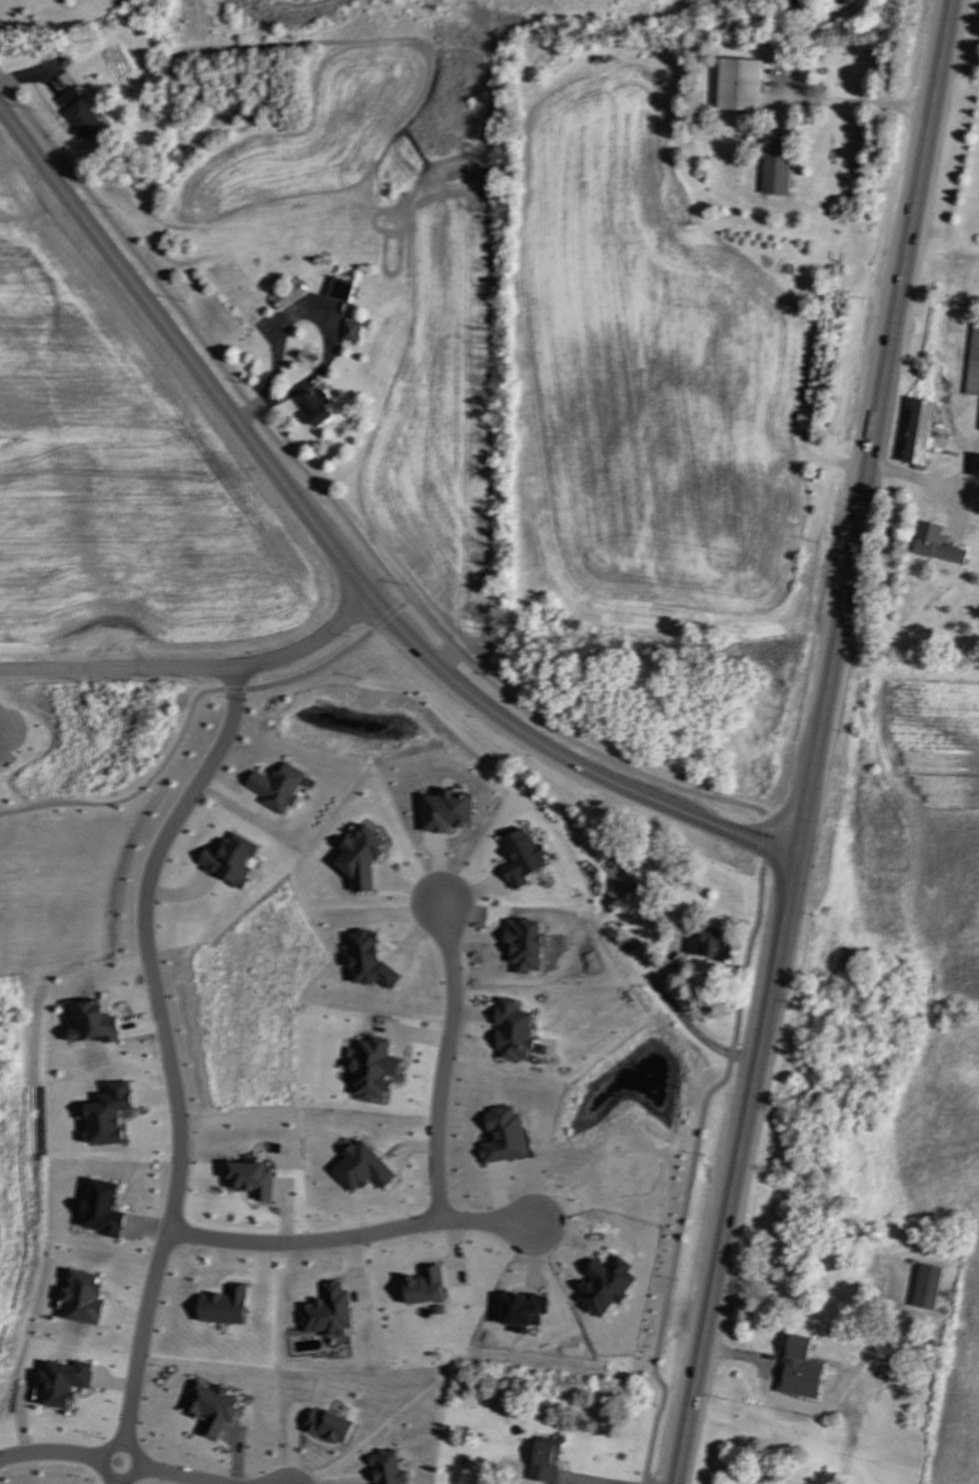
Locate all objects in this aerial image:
building: (845, 2)
building: (739, 85)
road: (856, 107)
building: (83, 119)
crop: (308, 138)
building: (776, 163)
building: (341, 289)
building: (288, 294)
road: (304, 311)
building: (351, 331)
building: (973, 359)
crop: (651, 366)
building: (317, 407)
crop: (440, 409)
building: (920, 433)
building: (976, 466)
road: (947, 488)
road: (964, 498)
building: (937, 544)
road: (336, 558)
road: (195, 667)
road: (20, 731)
road: (817, 742)
road: (582, 745)
building: (278, 788)
building: (448, 811)
crop: (935, 823)
building: (362, 854)
building: (523, 857)
building: (231, 859)
building: (709, 948)
road: (441, 1061)
road: (169, 1068)
crop: (942, 1206)
road: (346, 1235)
building: (796, 1356)
road: (107, 1459)
building: (542, 1464)
road: (572, 1482)

